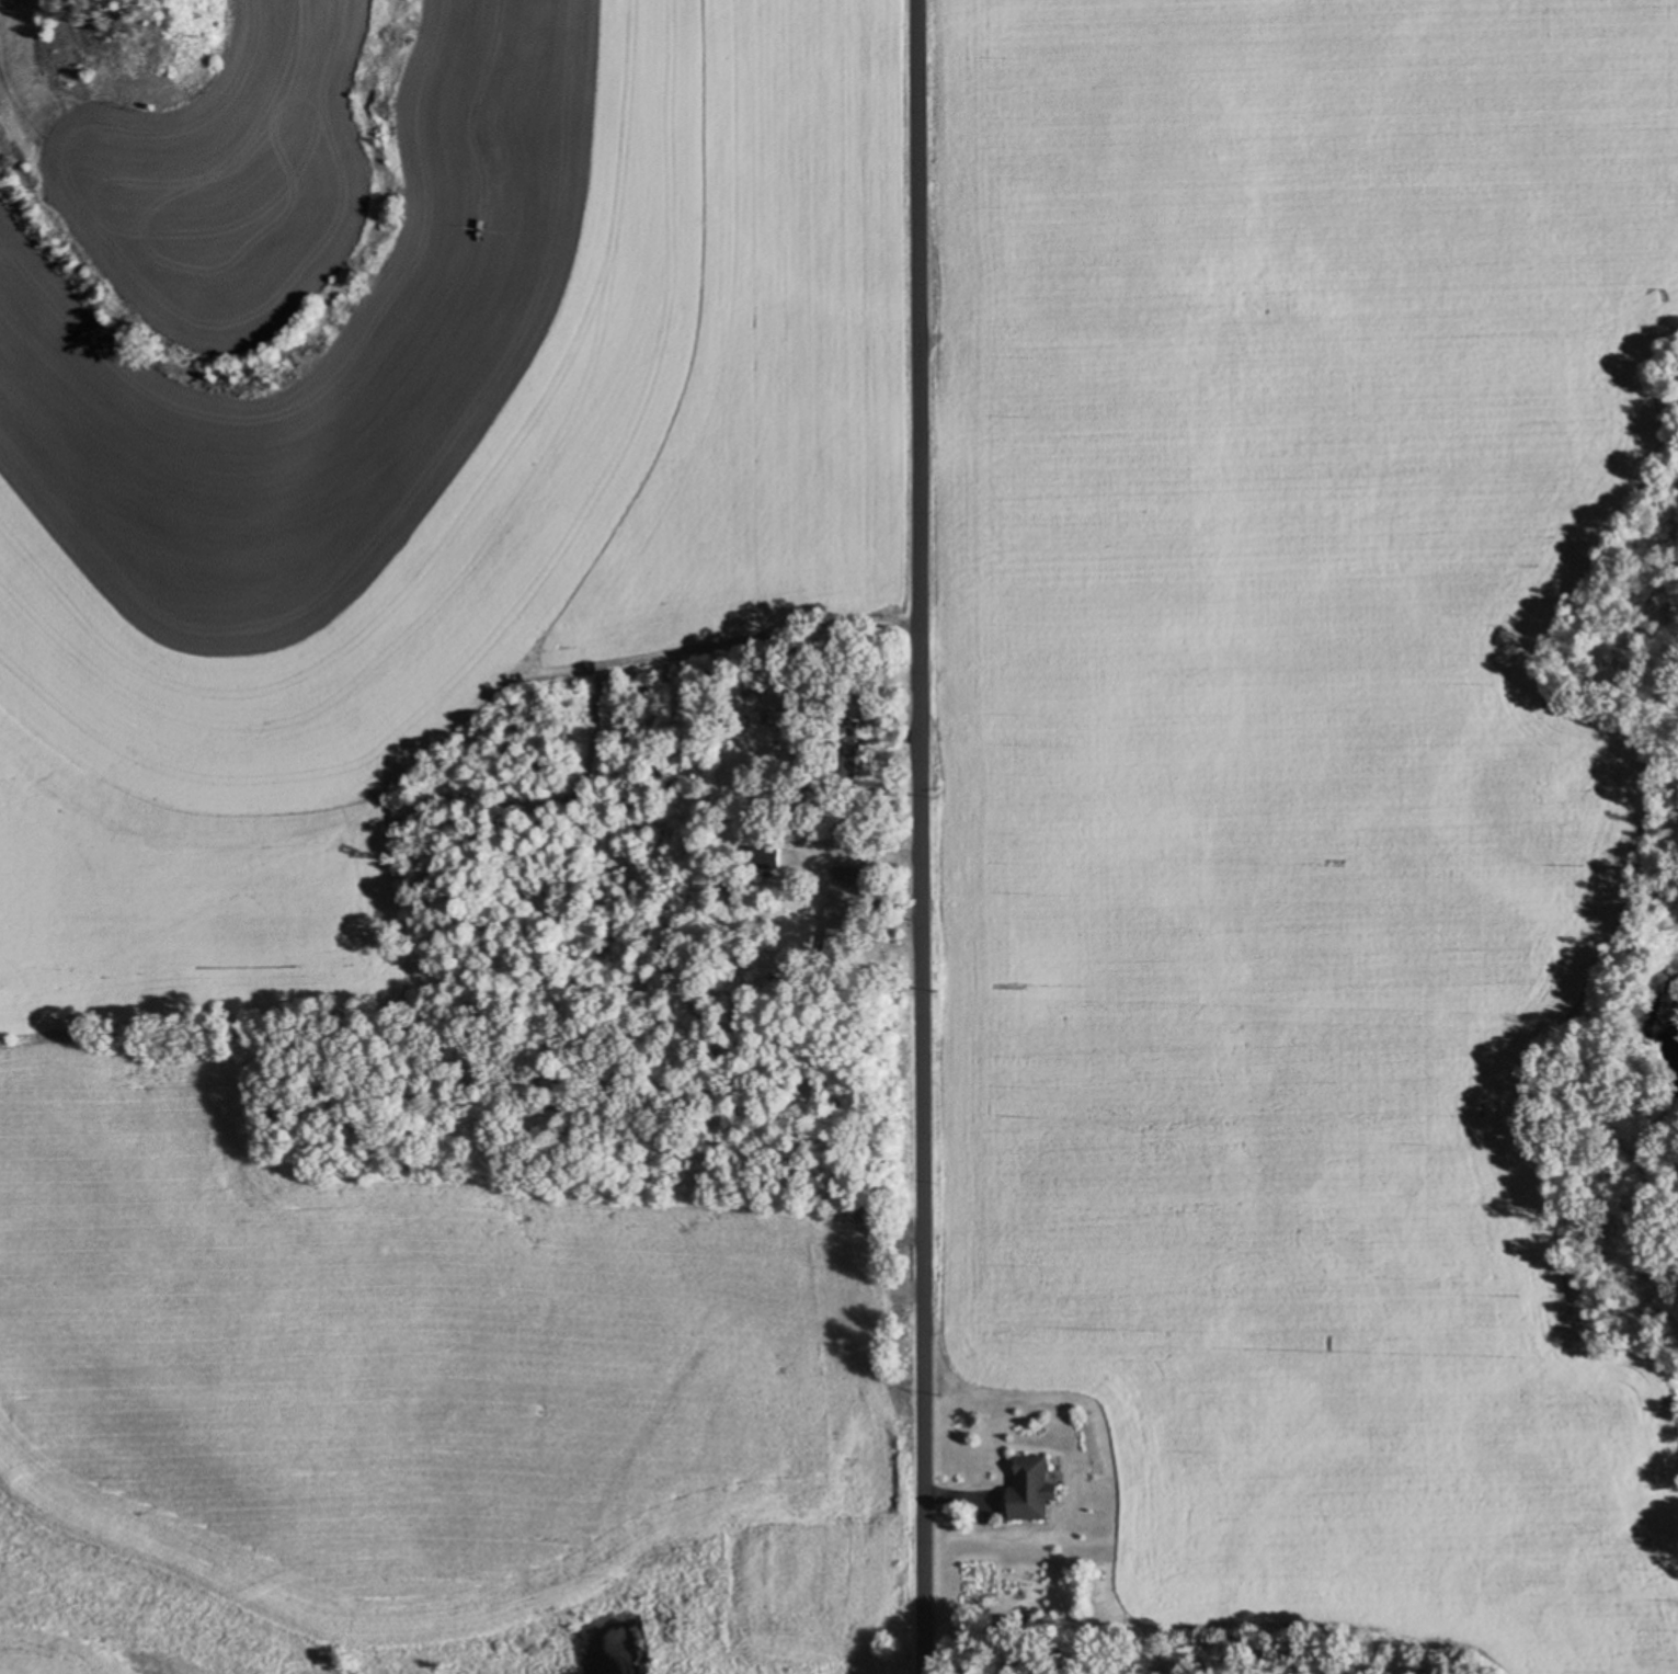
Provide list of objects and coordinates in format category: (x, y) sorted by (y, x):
building: (798, 703)
crop: (413, 772)
crop: (1291, 781)
road: (920, 836)
building: (1037, 1488)
crop: (53, 1655)

